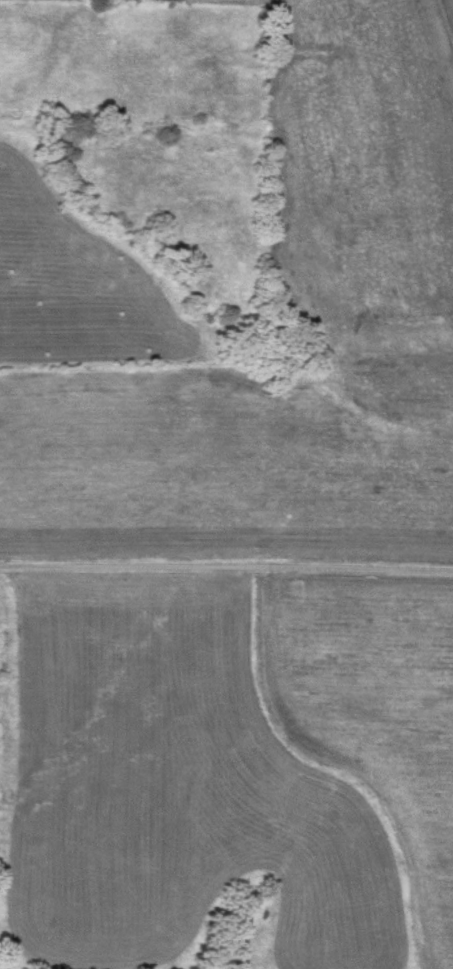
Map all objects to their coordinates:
road: (226, 571)

